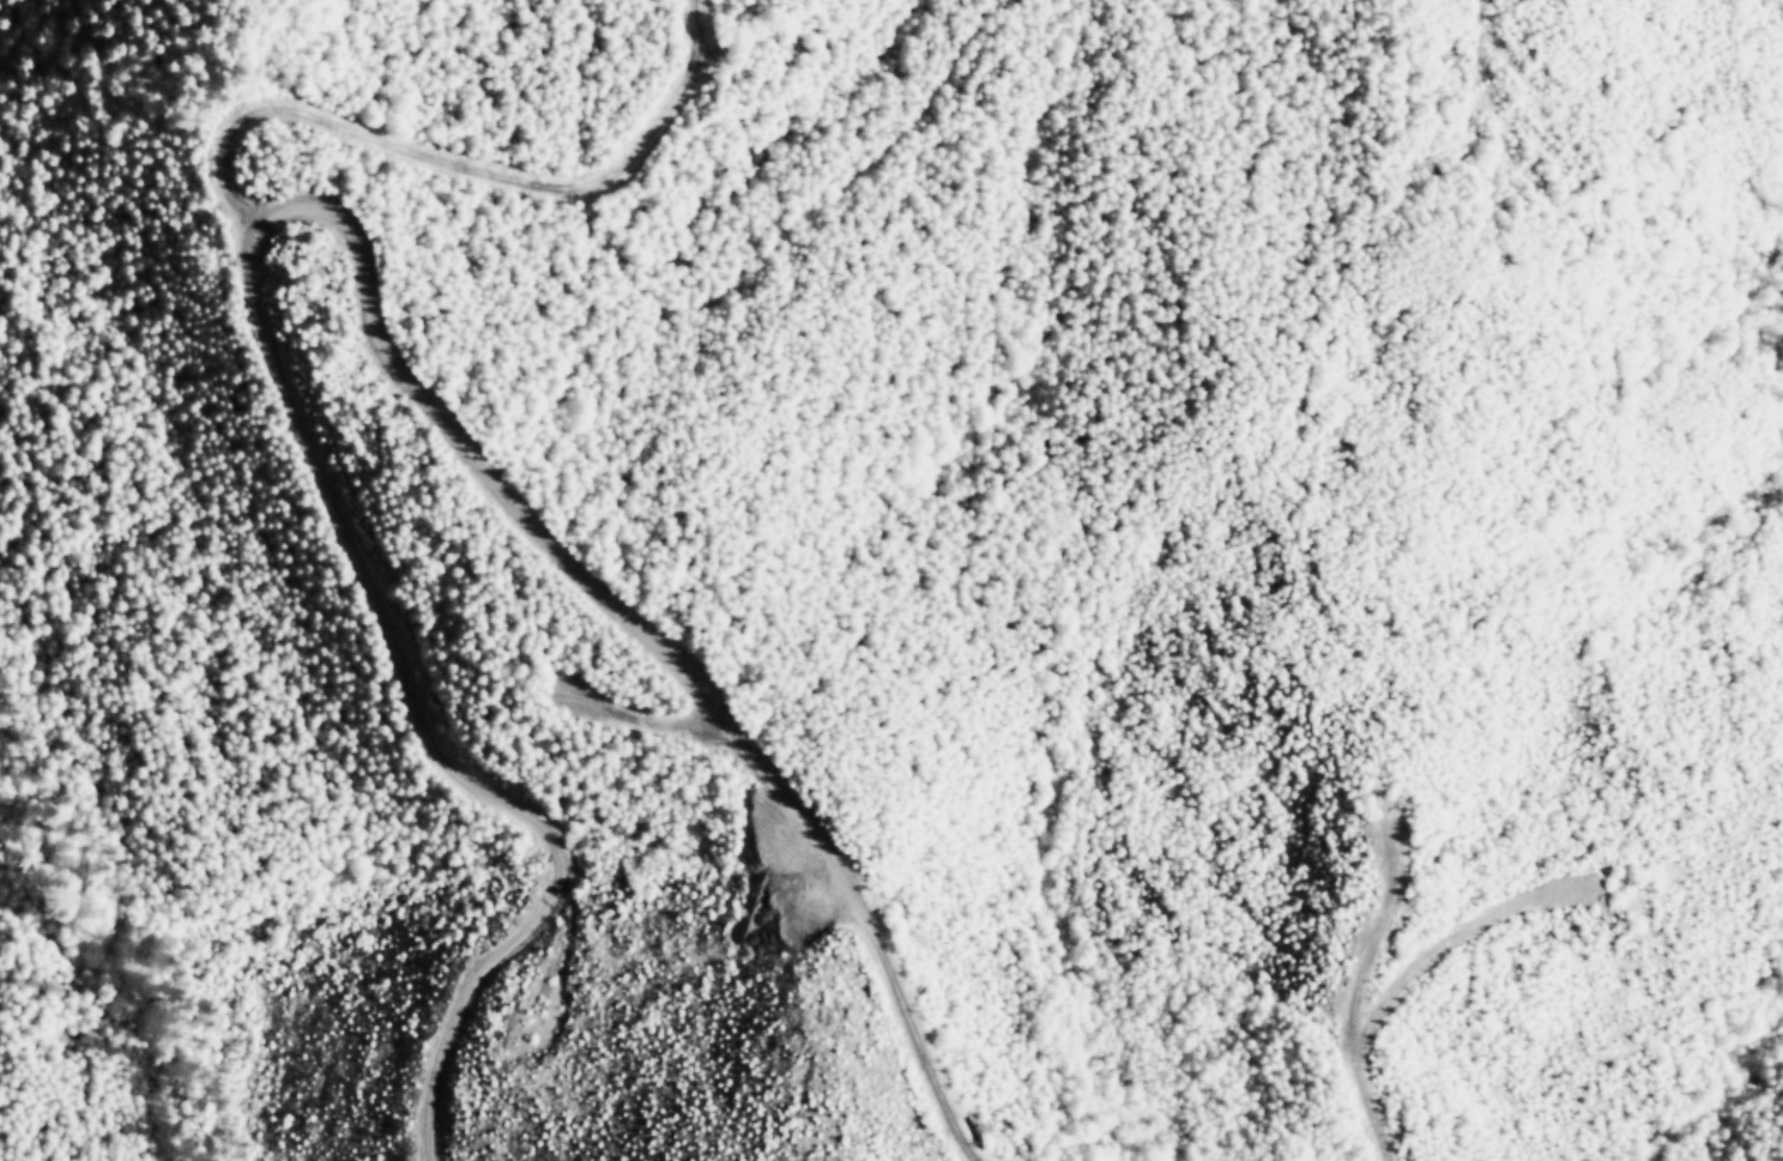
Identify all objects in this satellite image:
road: (230, 320)

